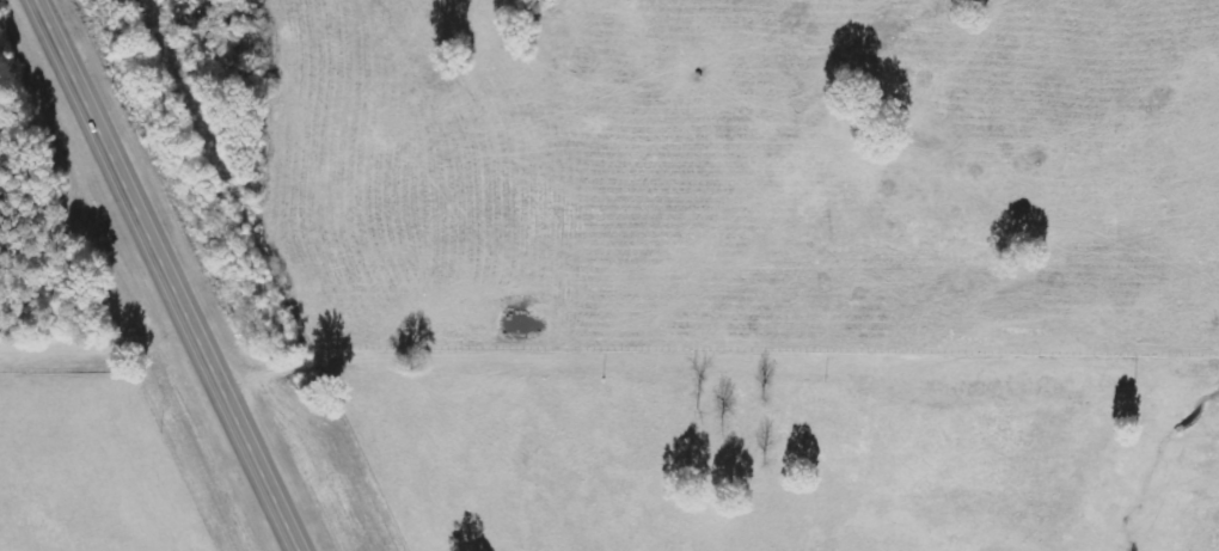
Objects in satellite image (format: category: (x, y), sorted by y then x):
road: (169, 275)
road: (715, 351)

